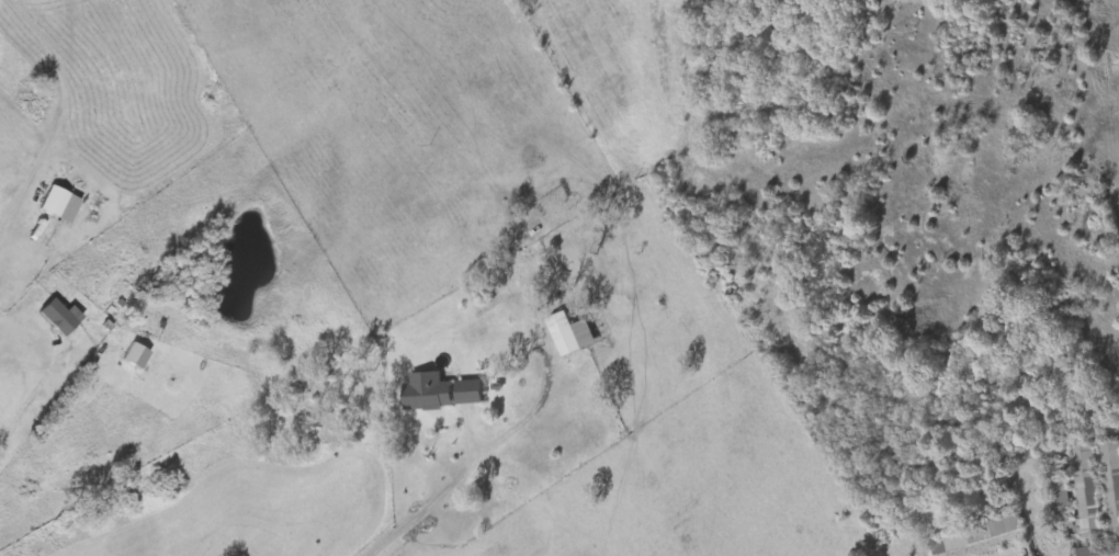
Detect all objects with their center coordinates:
building: (897, 0)
power tower: (1118, 63)
building: (63, 204)
building: (61, 317)
building: (573, 333)
building: (442, 392)
building: (1111, 479)
building: (1062, 486)
building: (1086, 491)
road: (414, 517)
building: (977, 534)
building: (1097, 551)

